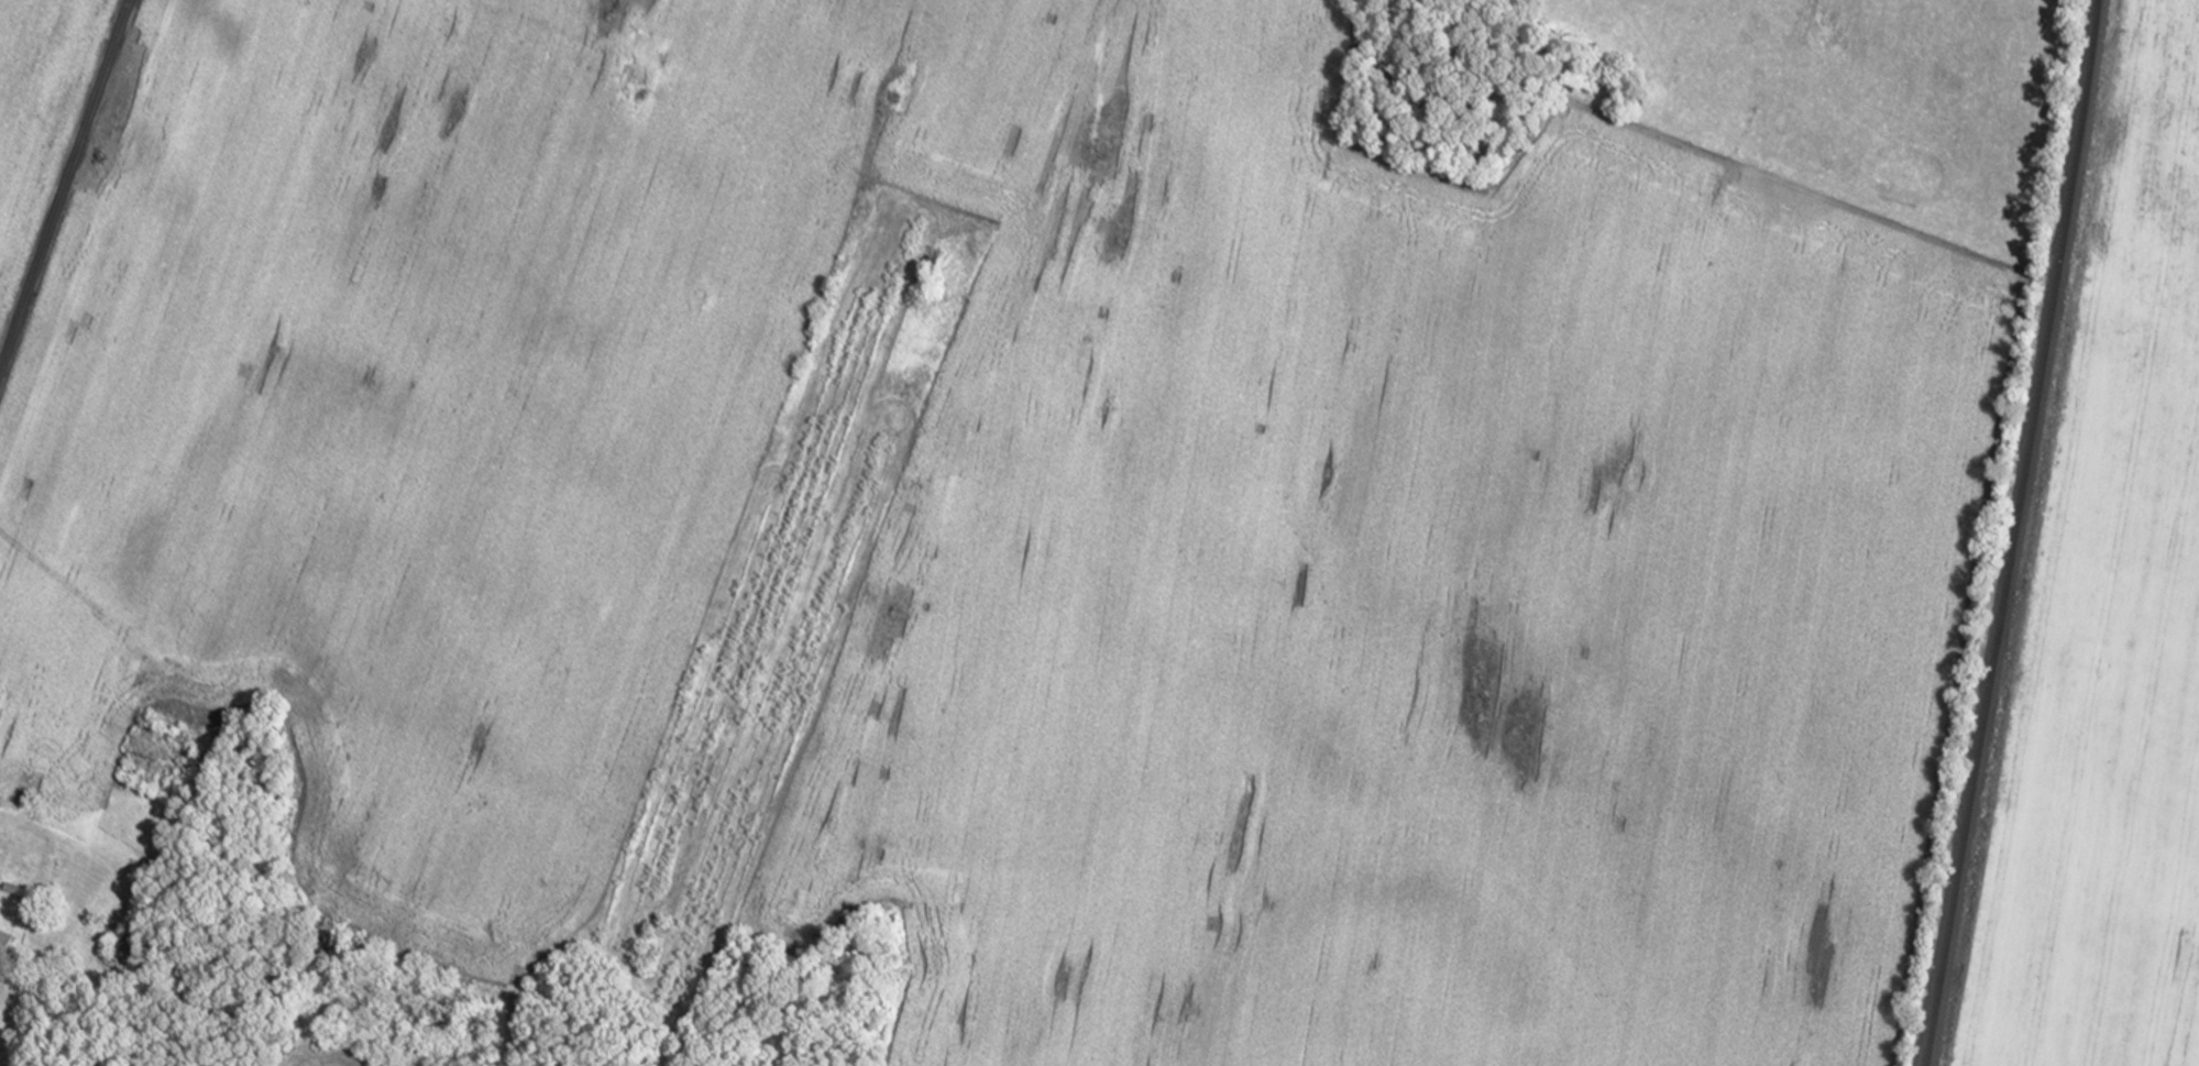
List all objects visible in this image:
road: (66, 193)
railway: (2016, 532)
building: (7, 942)
building: (127, 944)

